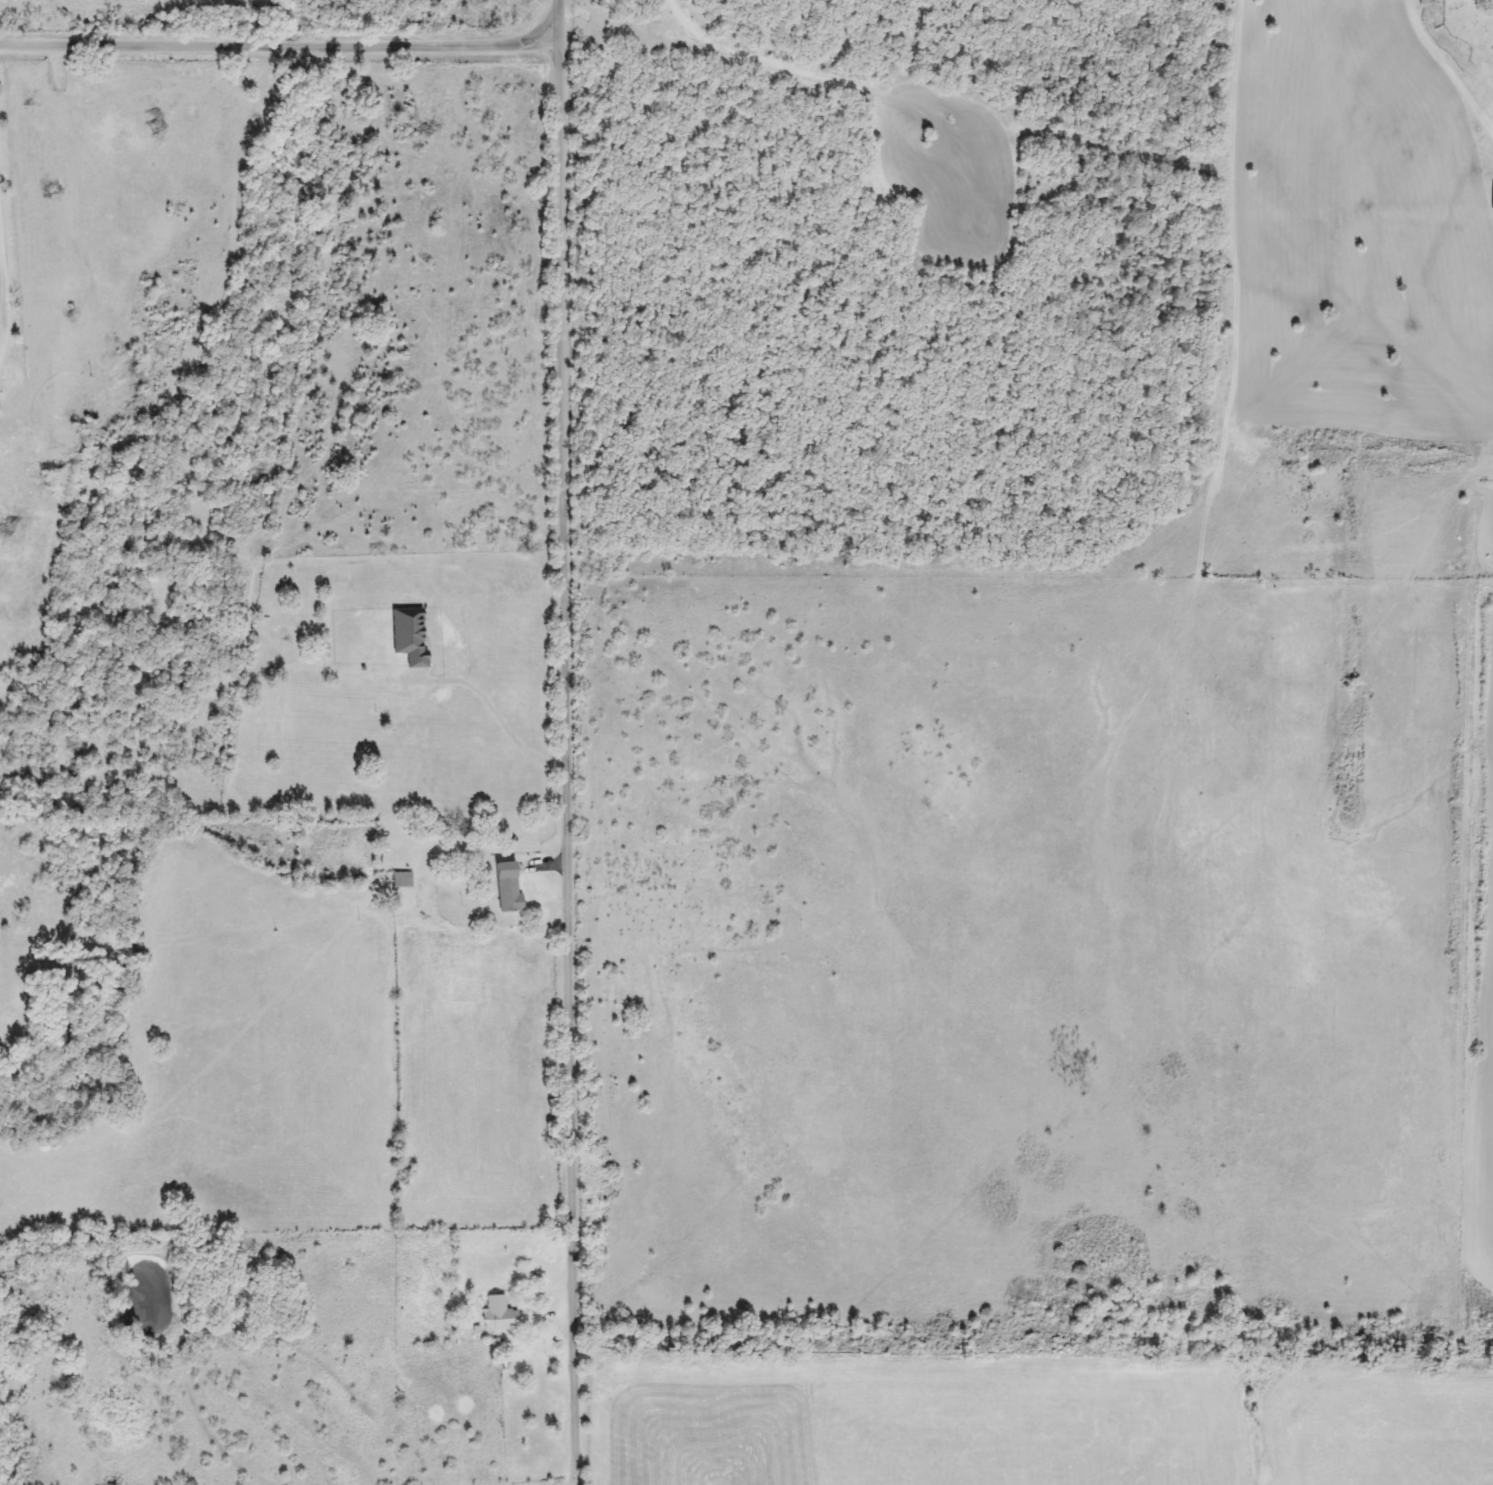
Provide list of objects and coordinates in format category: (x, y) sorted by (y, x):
road: (276, 49)
road: (1449, 64)
building: (1490, 197)
road: (3, 300)
building: (406, 636)
road: (498, 719)
road: (564, 742)
building: (400, 881)
building: (505, 888)
building: (496, 1314)

